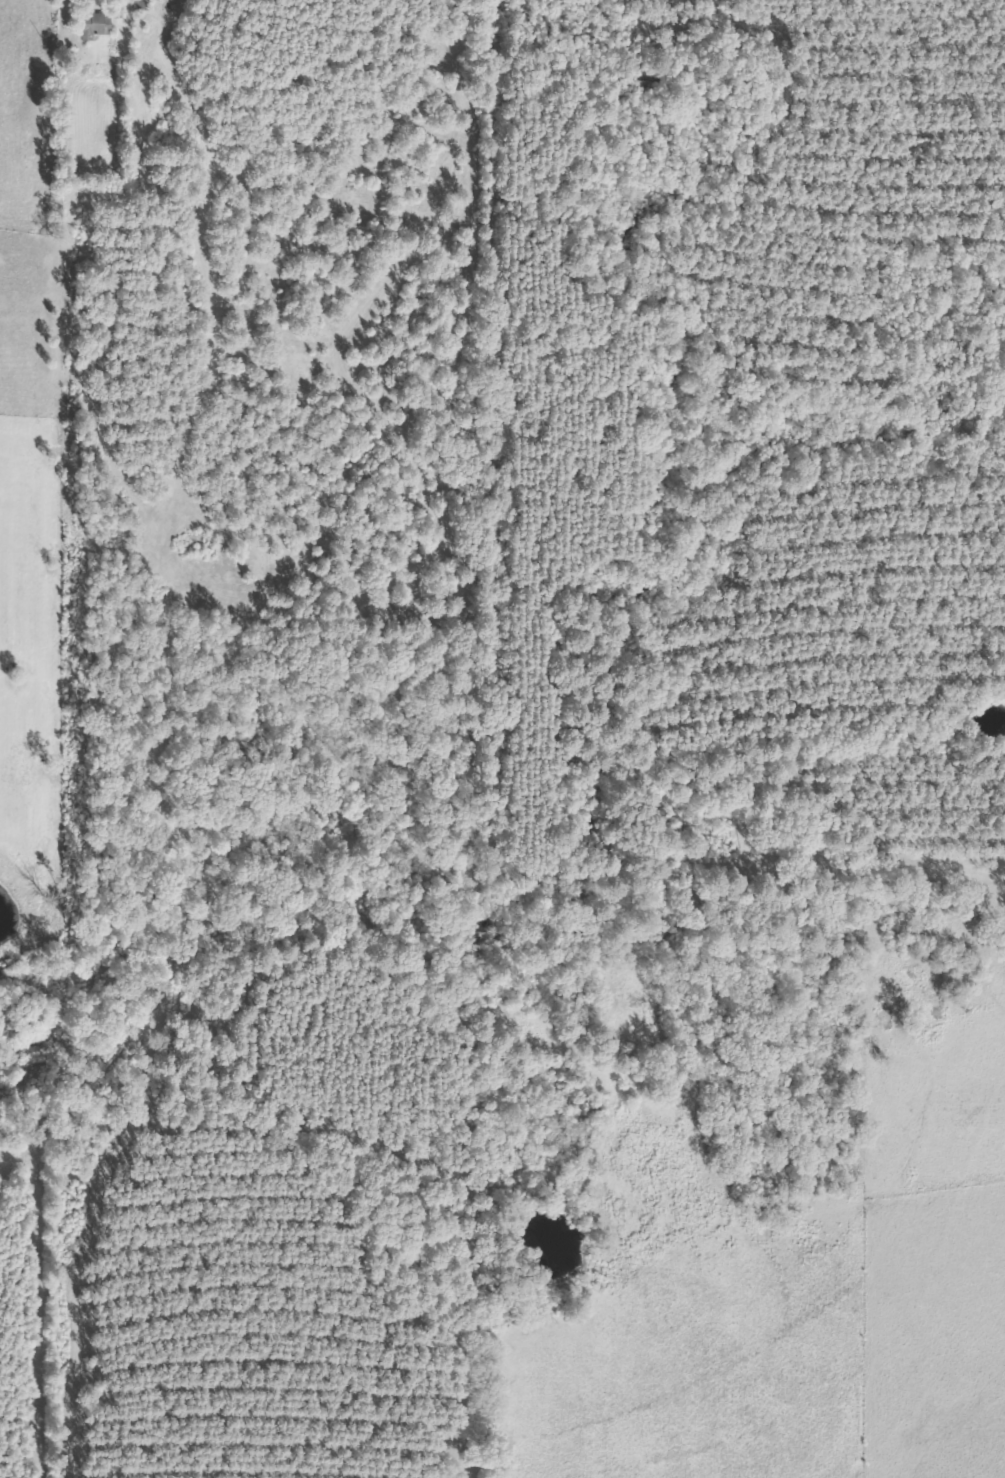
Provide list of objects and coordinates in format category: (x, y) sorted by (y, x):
building: (99, 25)

